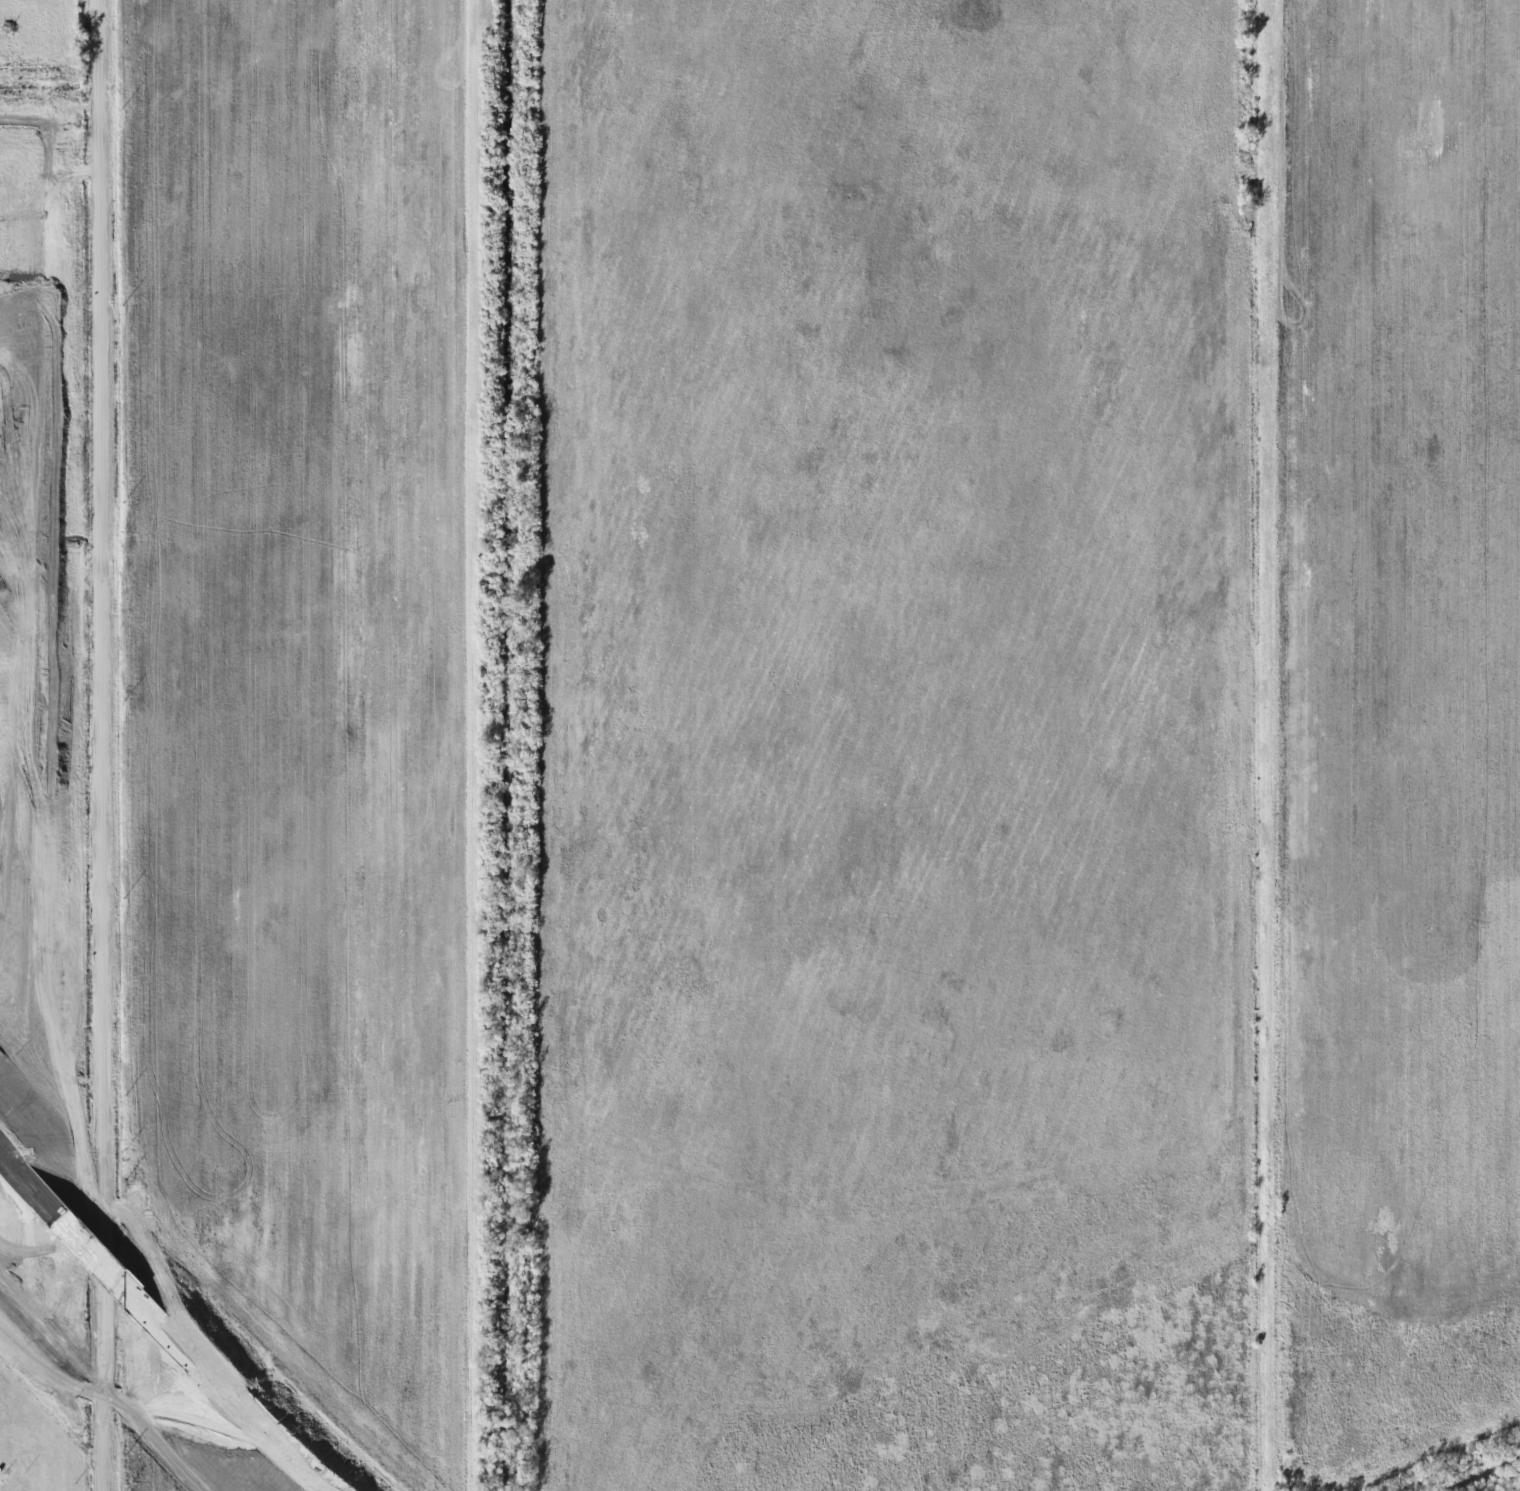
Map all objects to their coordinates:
road: (101, 745)
road: (27, 1189)
road: (88, 1261)
road: (222, 1394)

